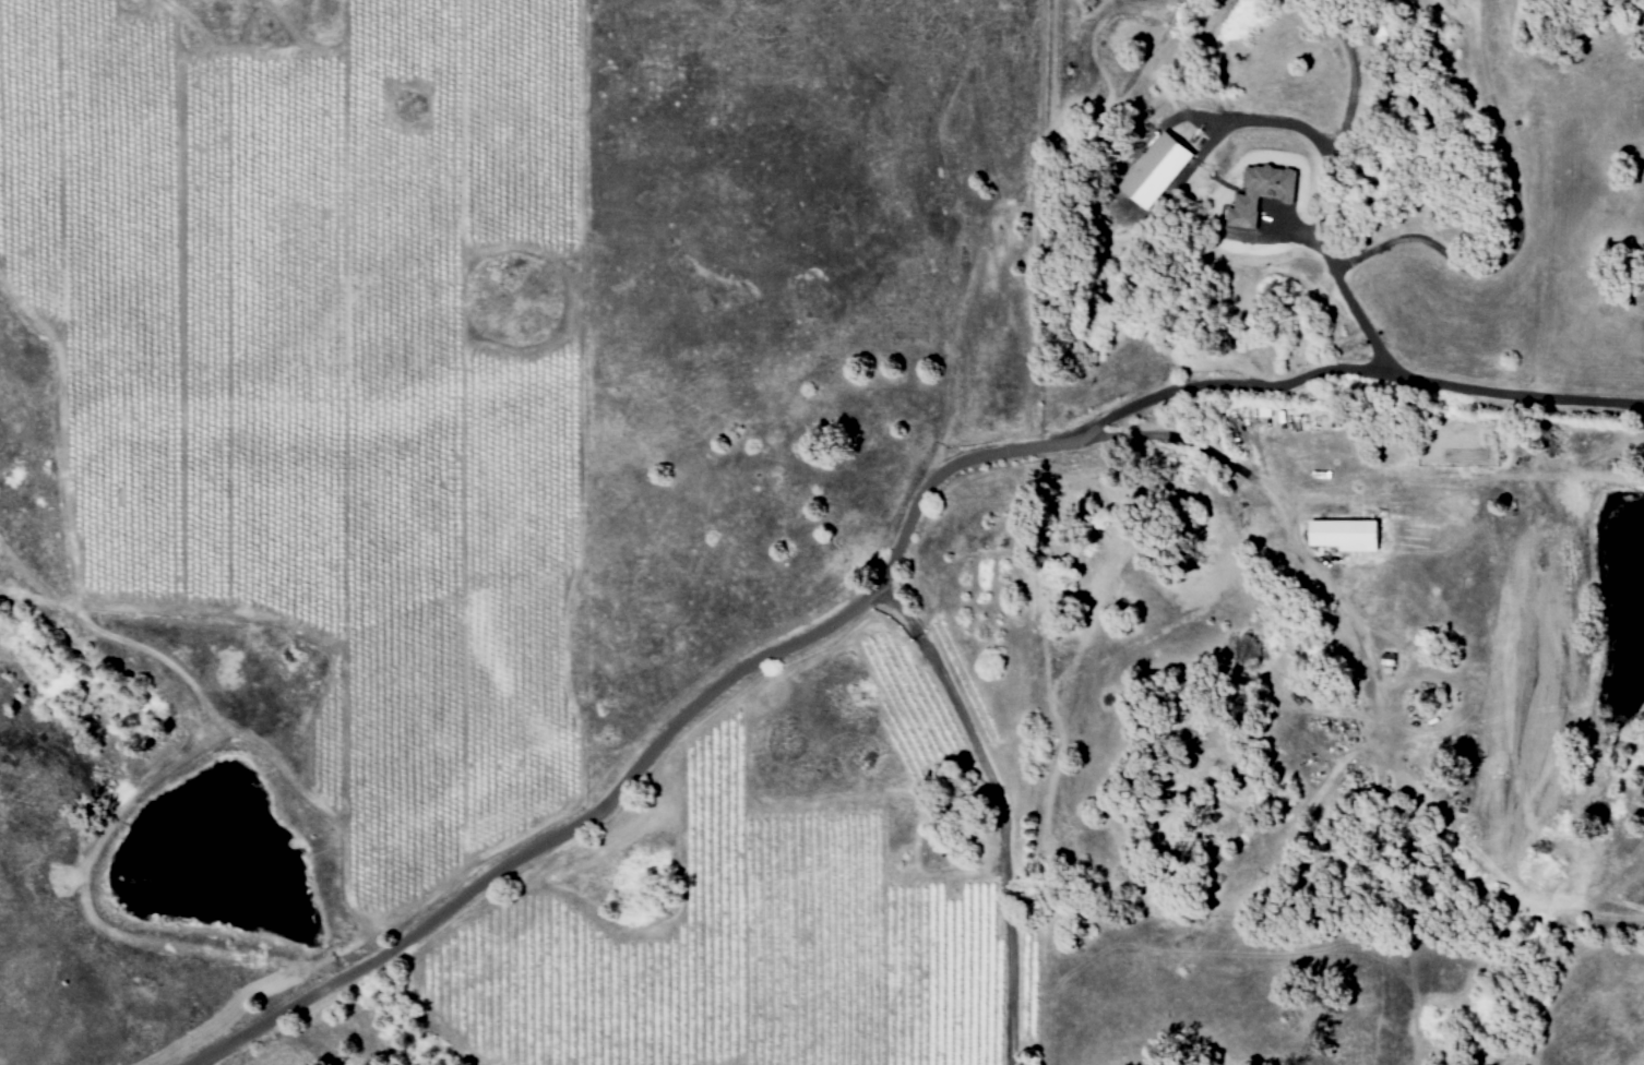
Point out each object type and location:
road: (1342, 118)
road: (1276, 119)
building: (1161, 168)
building: (1264, 191)
road: (1346, 290)
road: (1180, 439)
building: (1349, 534)
road: (875, 583)
road: (1001, 807)
crop: (216, 1060)

